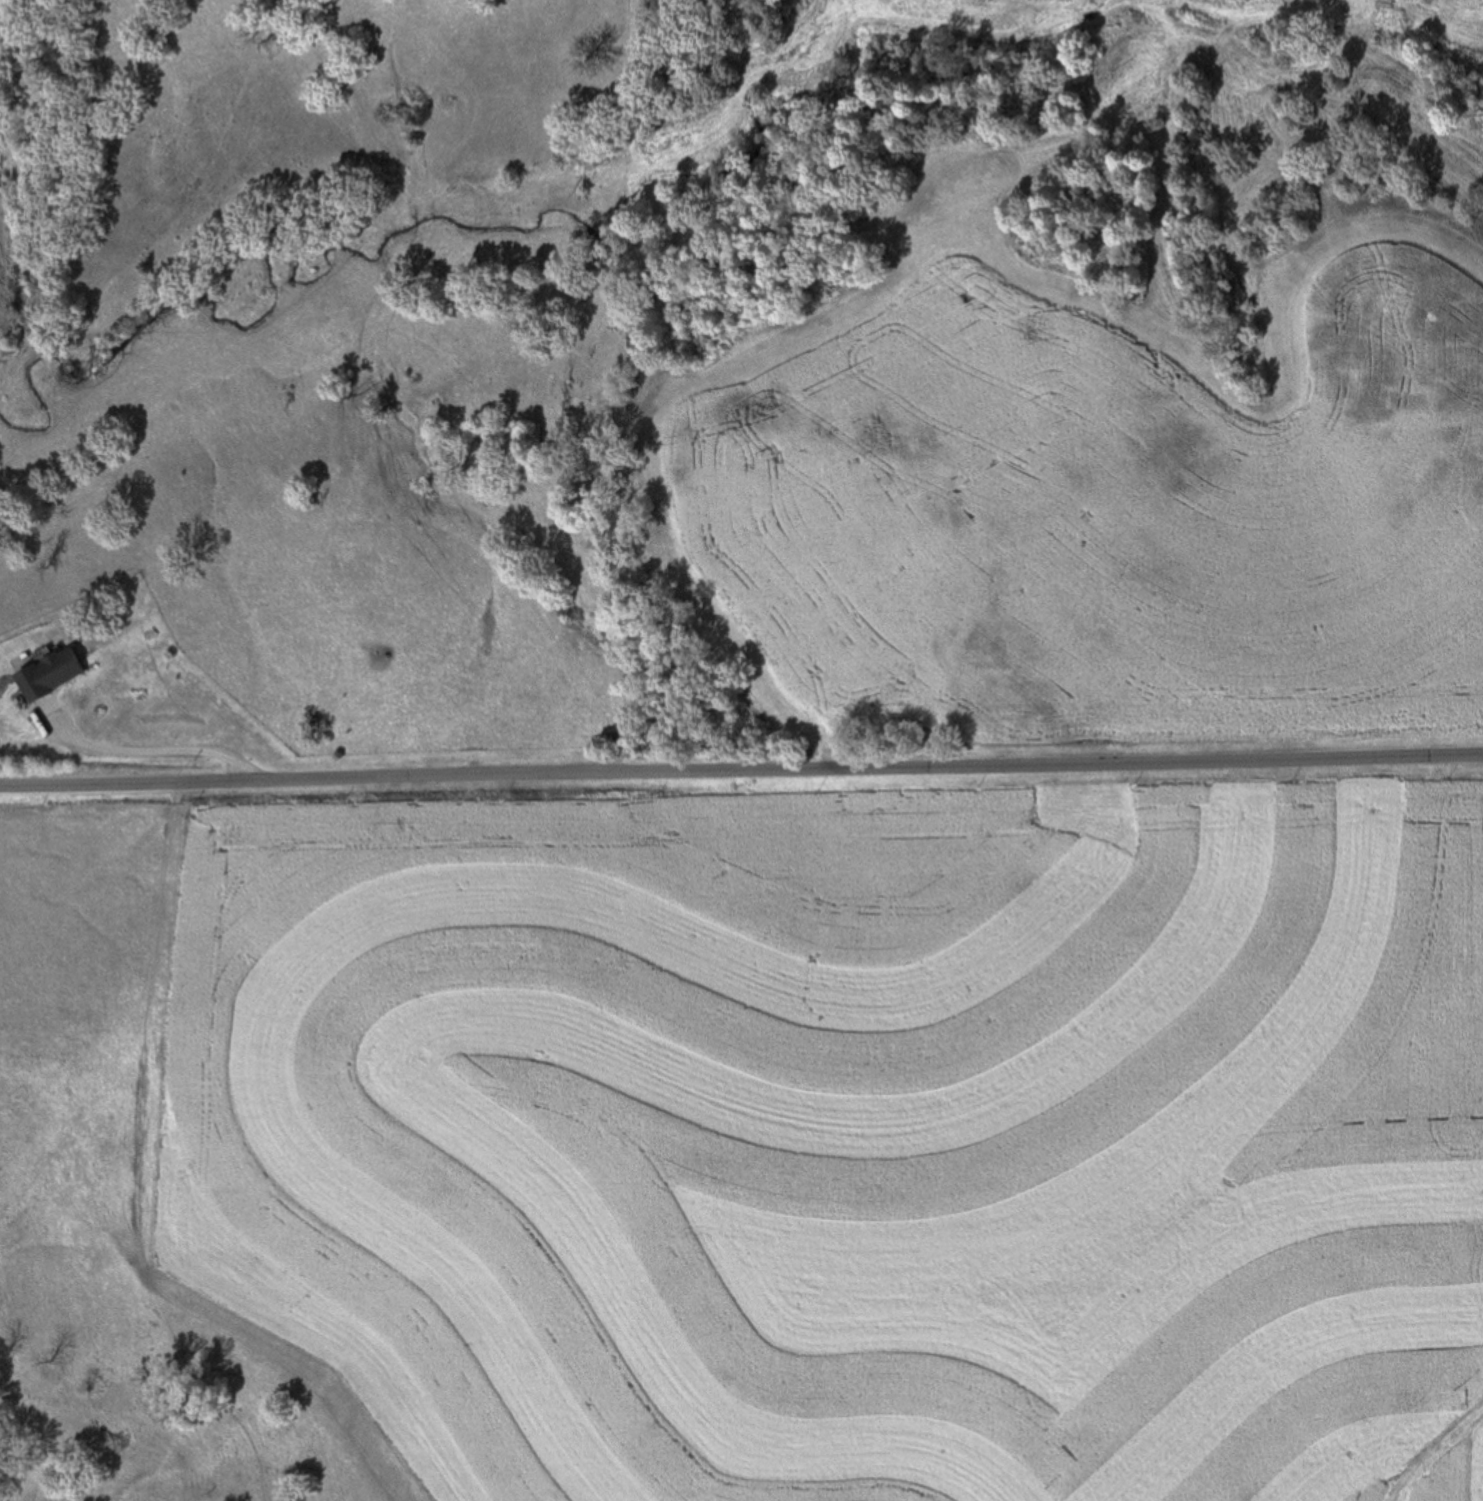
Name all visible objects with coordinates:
building: (50, 675)
road: (741, 770)

